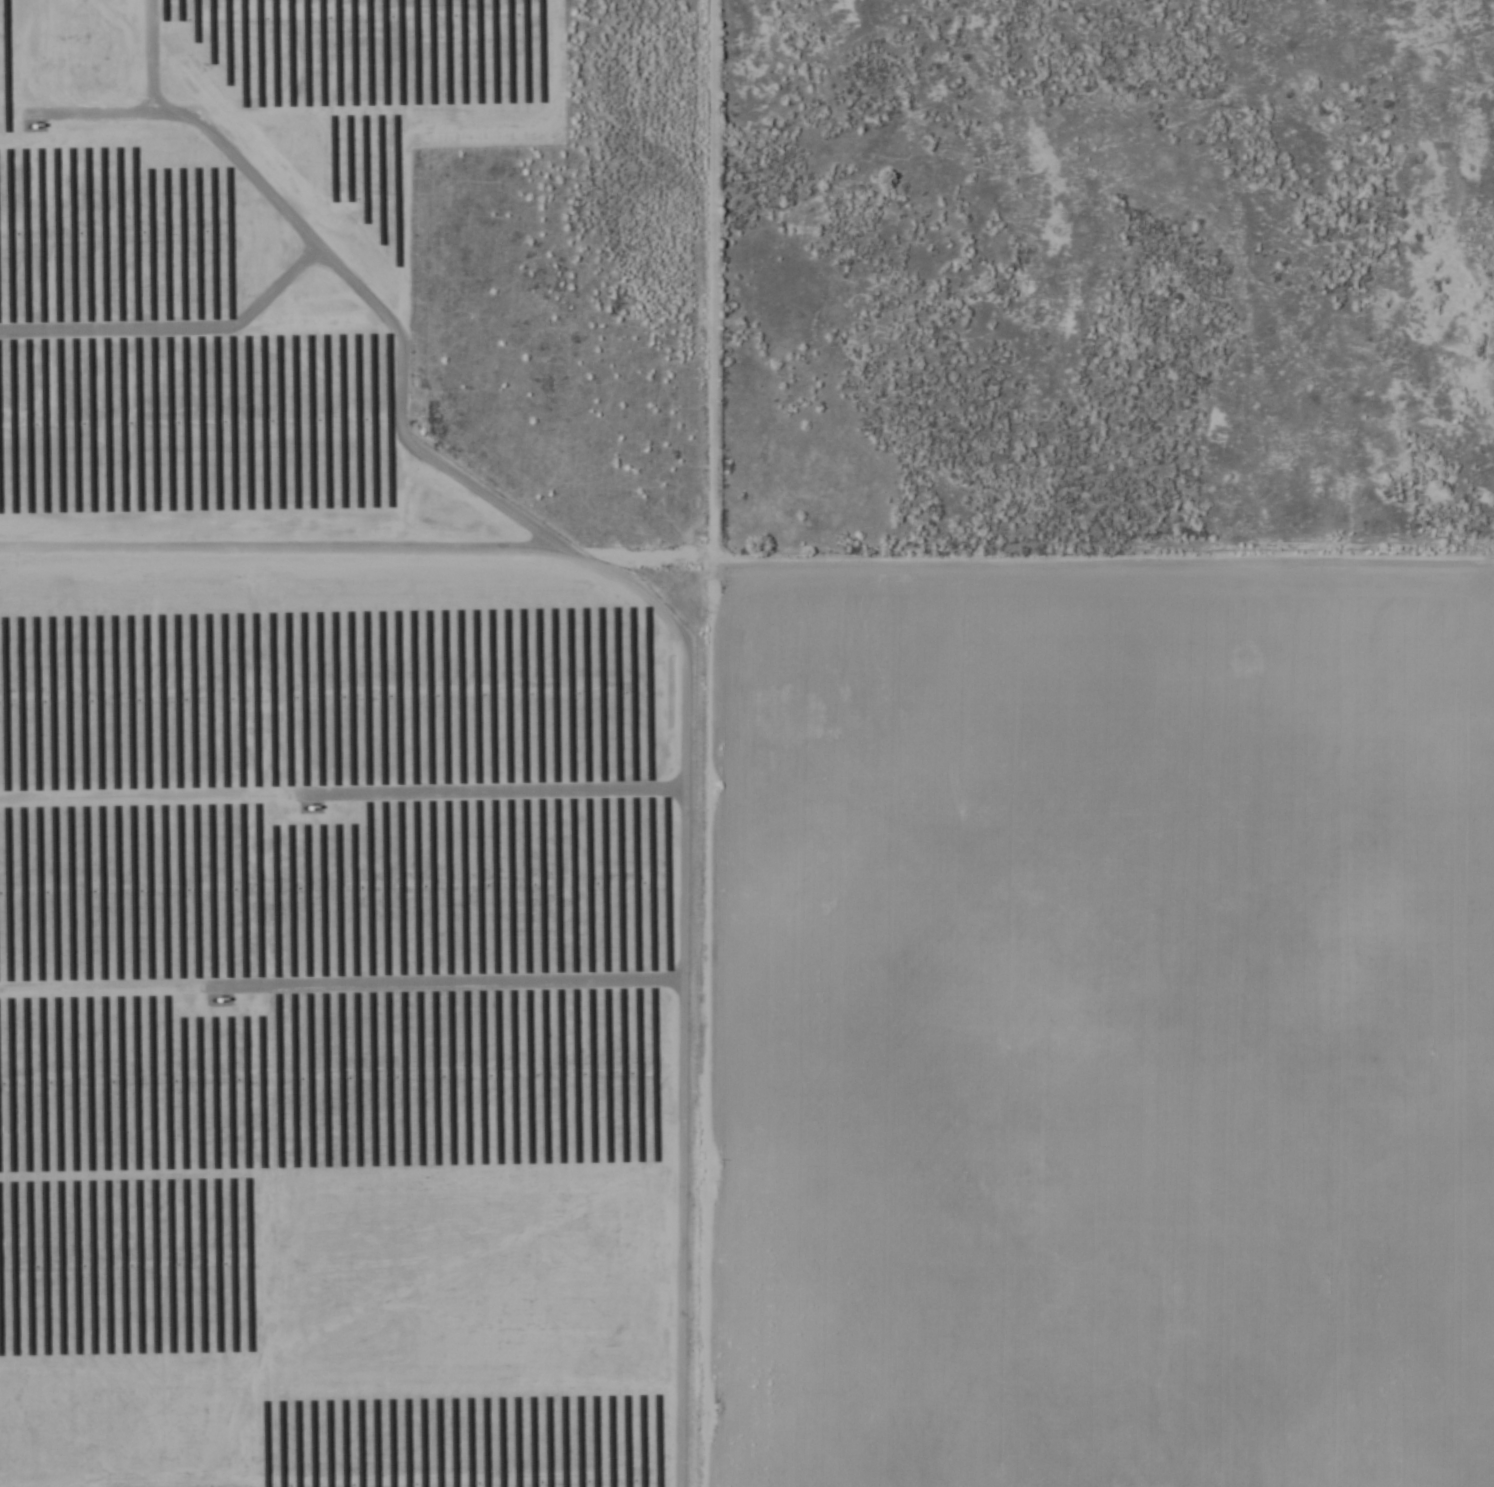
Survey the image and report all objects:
road: (654, 684)
solar farm: (327, 790)
road: (1088, 1002)
crop: (1101, 1023)

